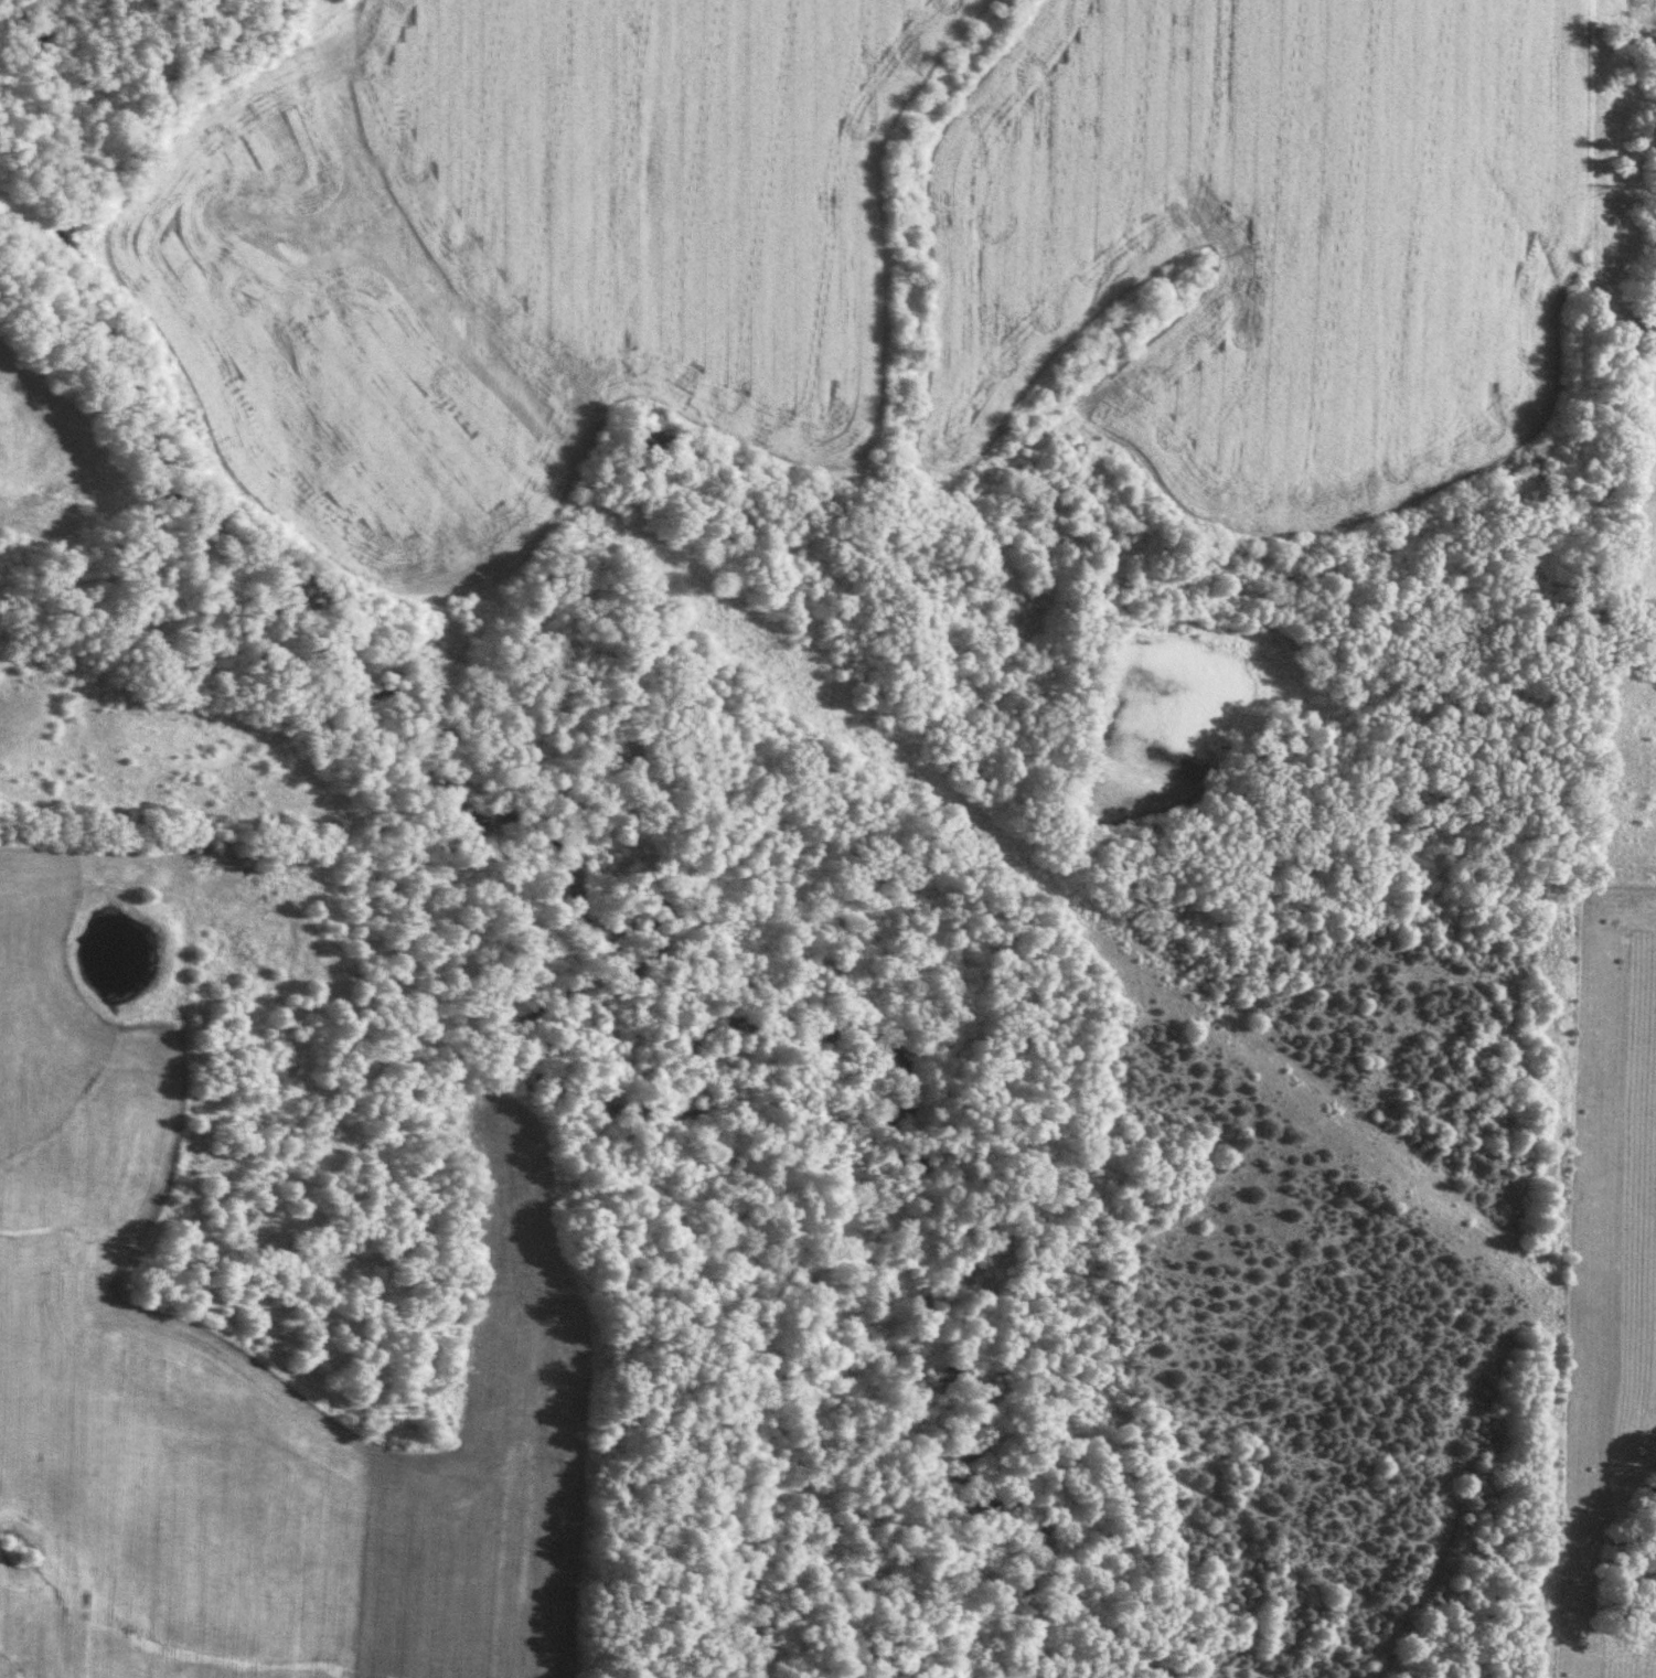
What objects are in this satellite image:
road: (147, 854)

